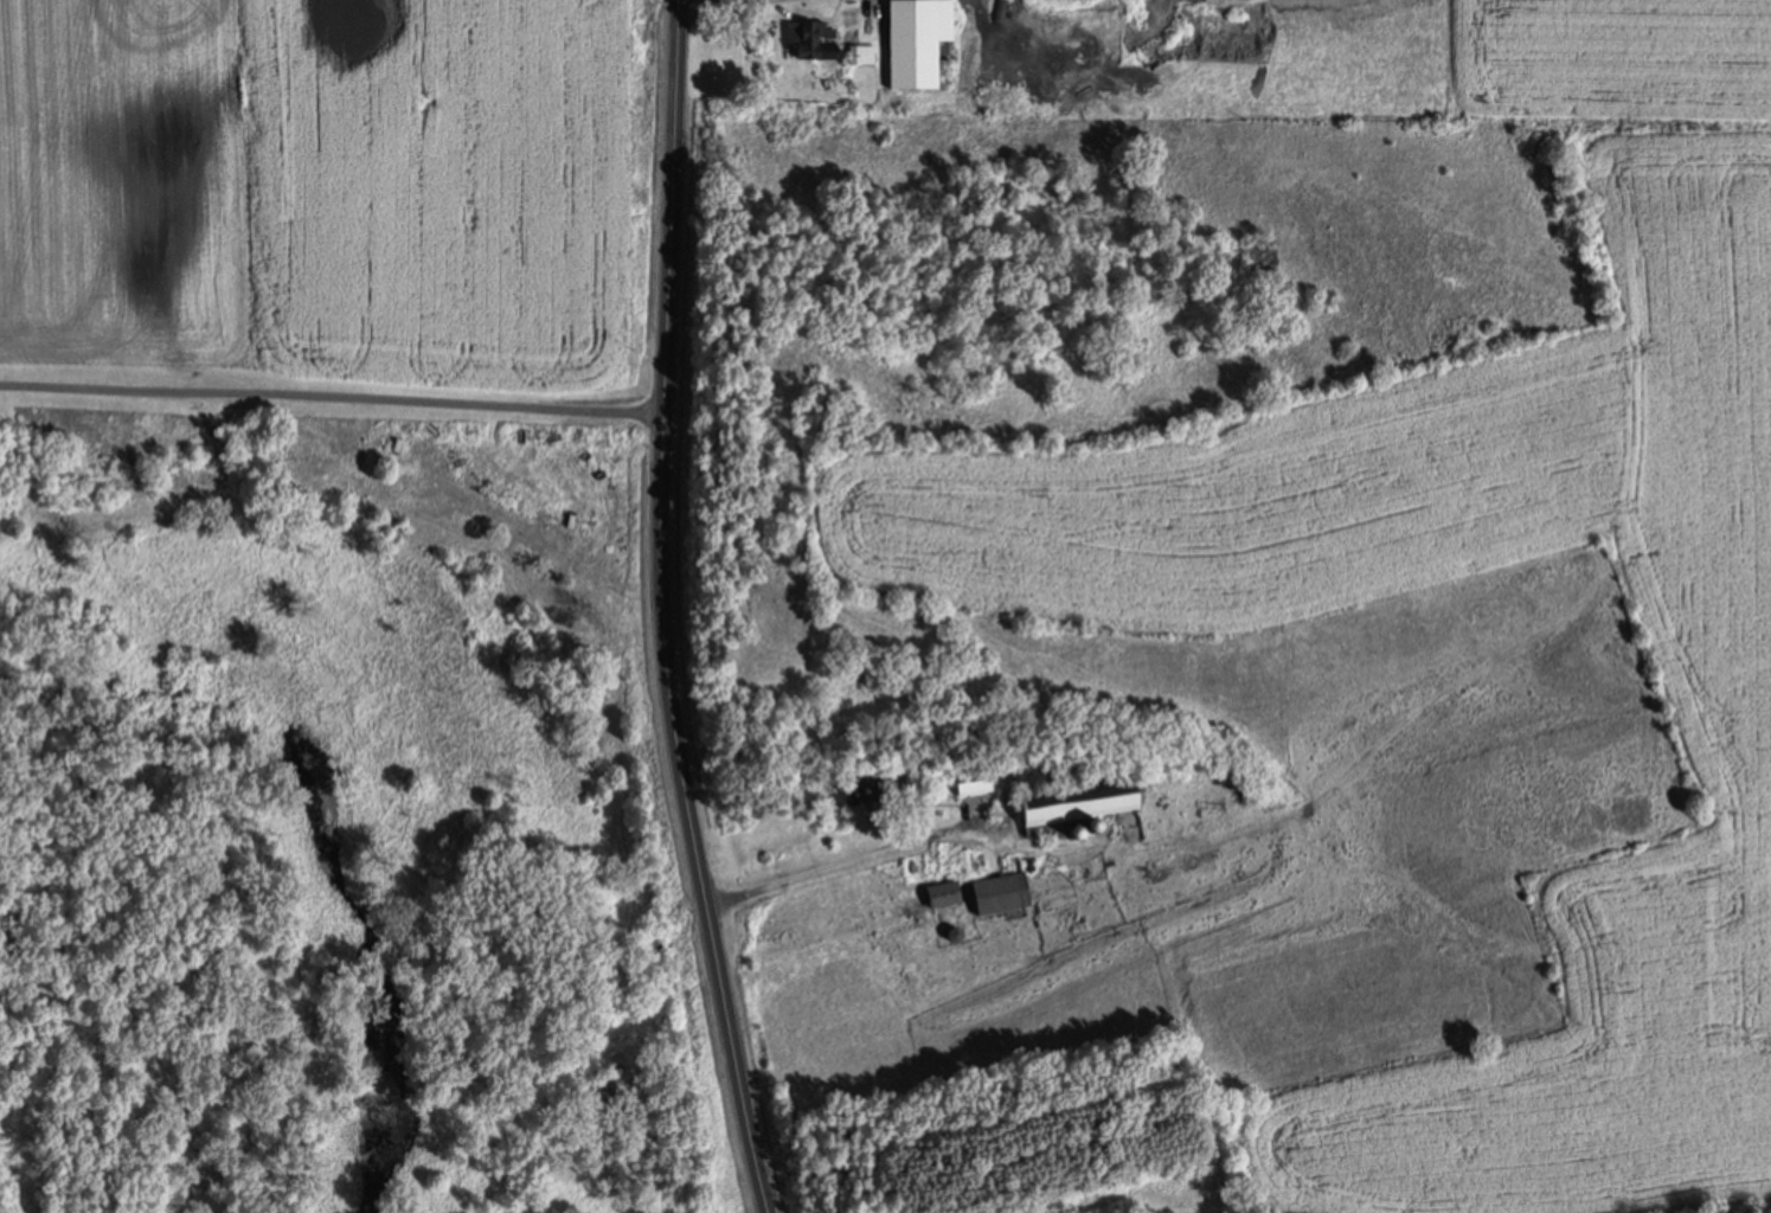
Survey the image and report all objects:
building: (1000, 11)
building: (807, 39)
building: (859, 53)
crop: (335, 201)
road: (329, 397)
road: (663, 610)
building: (971, 777)
building: (855, 789)
building: (1073, 800)
road: (848, 849)
building: (1048, 880)
building: (996, 892)
building: (939, 893)

